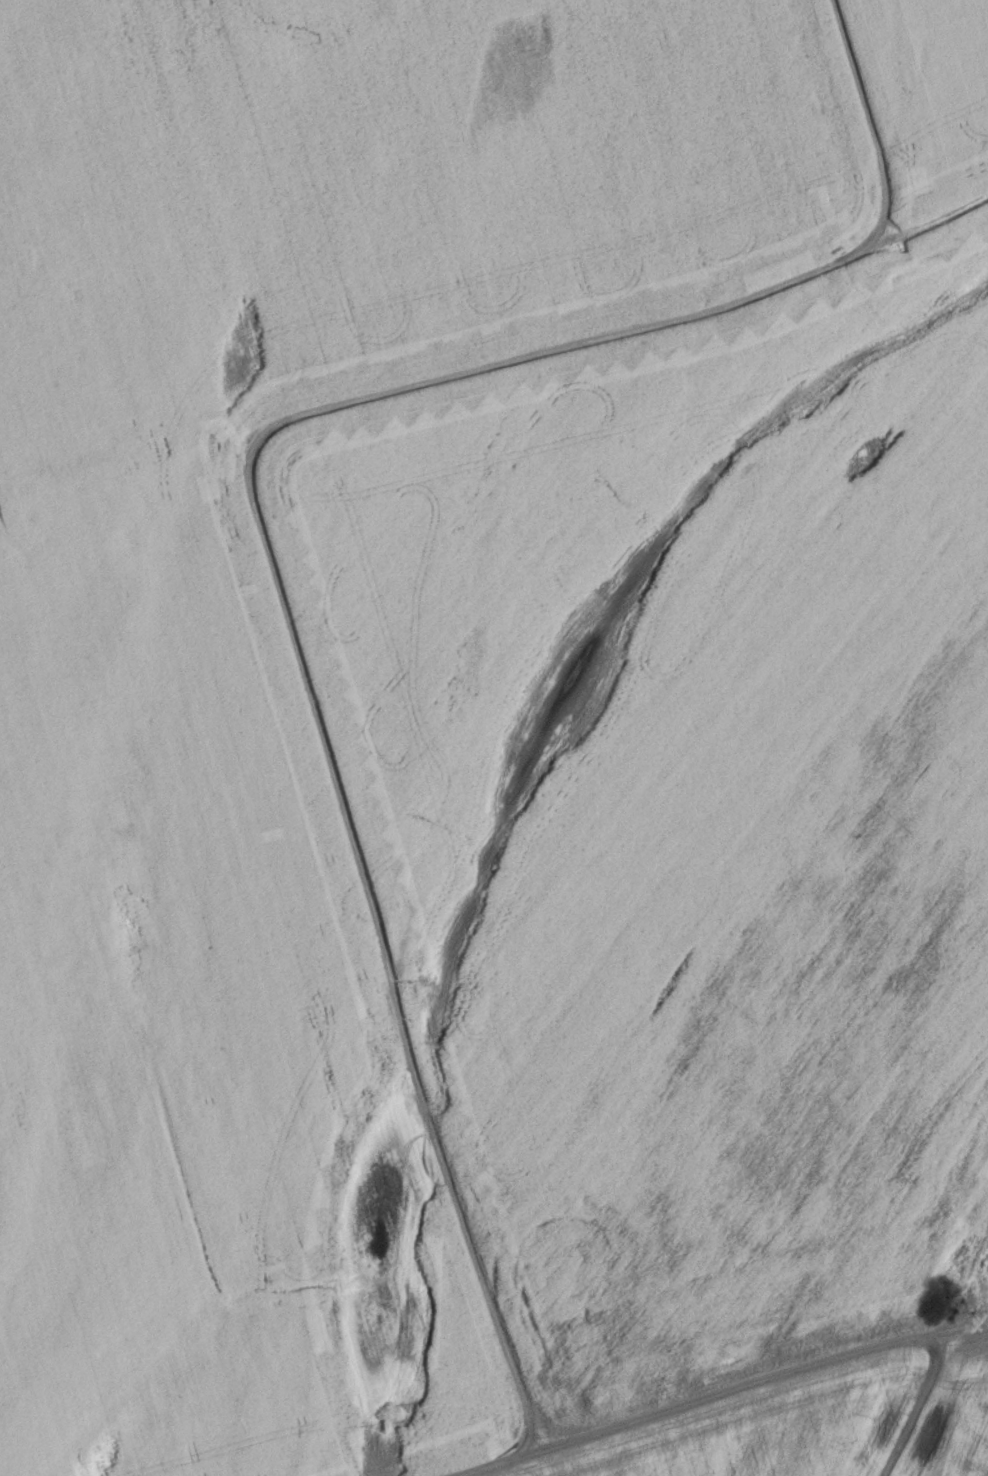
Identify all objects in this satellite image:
road: (930, 217)
road: (255, 511)
crop: (494, 738)
road: (715, 1391)
road: (915, 1405)

